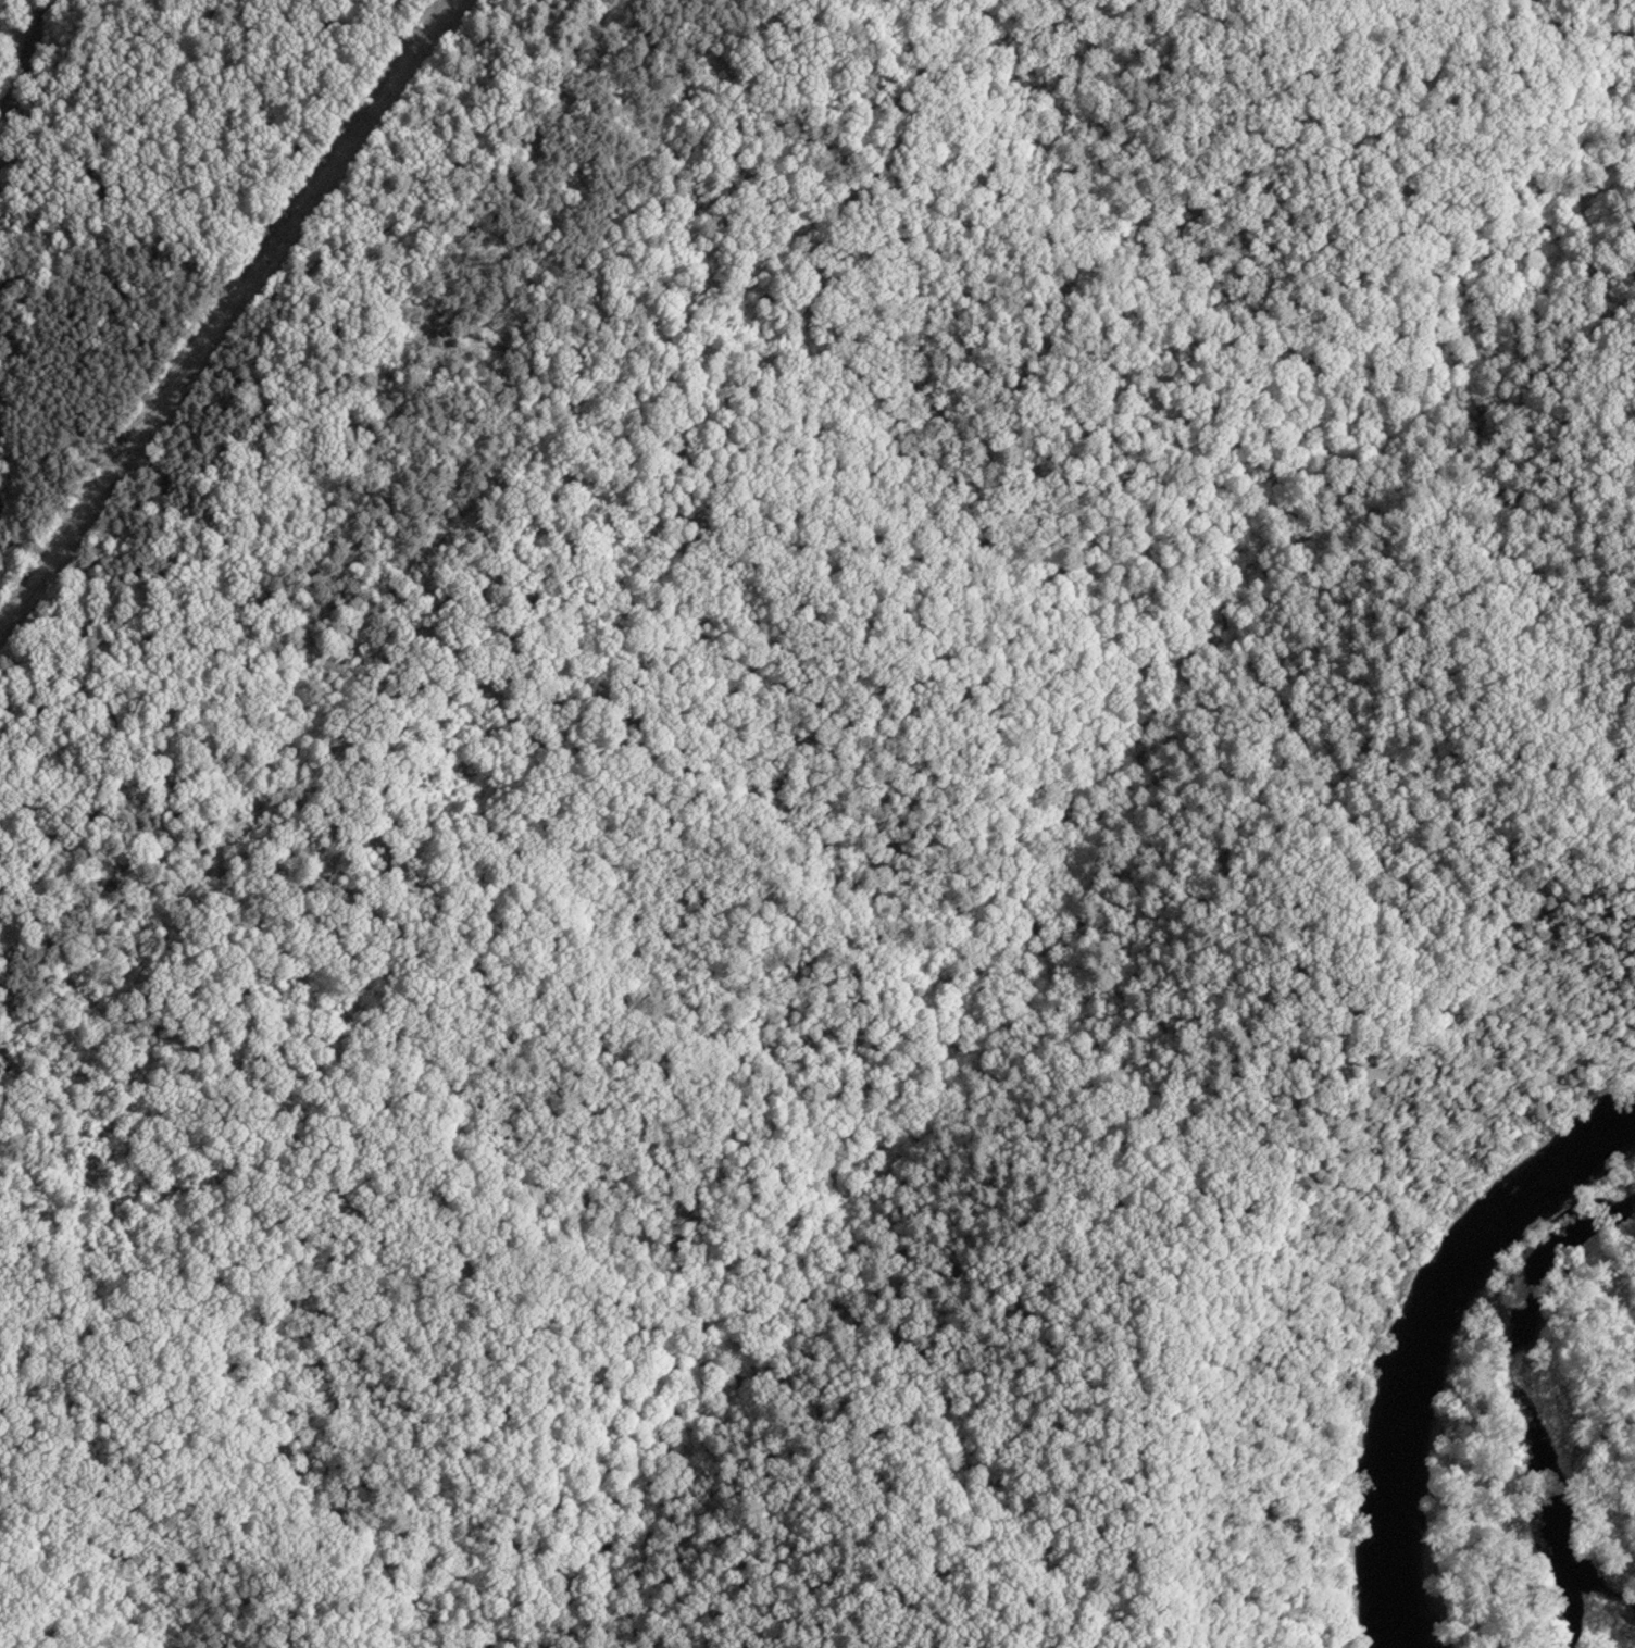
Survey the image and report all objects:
road: (11, 95)
river: (1435, 1344)

